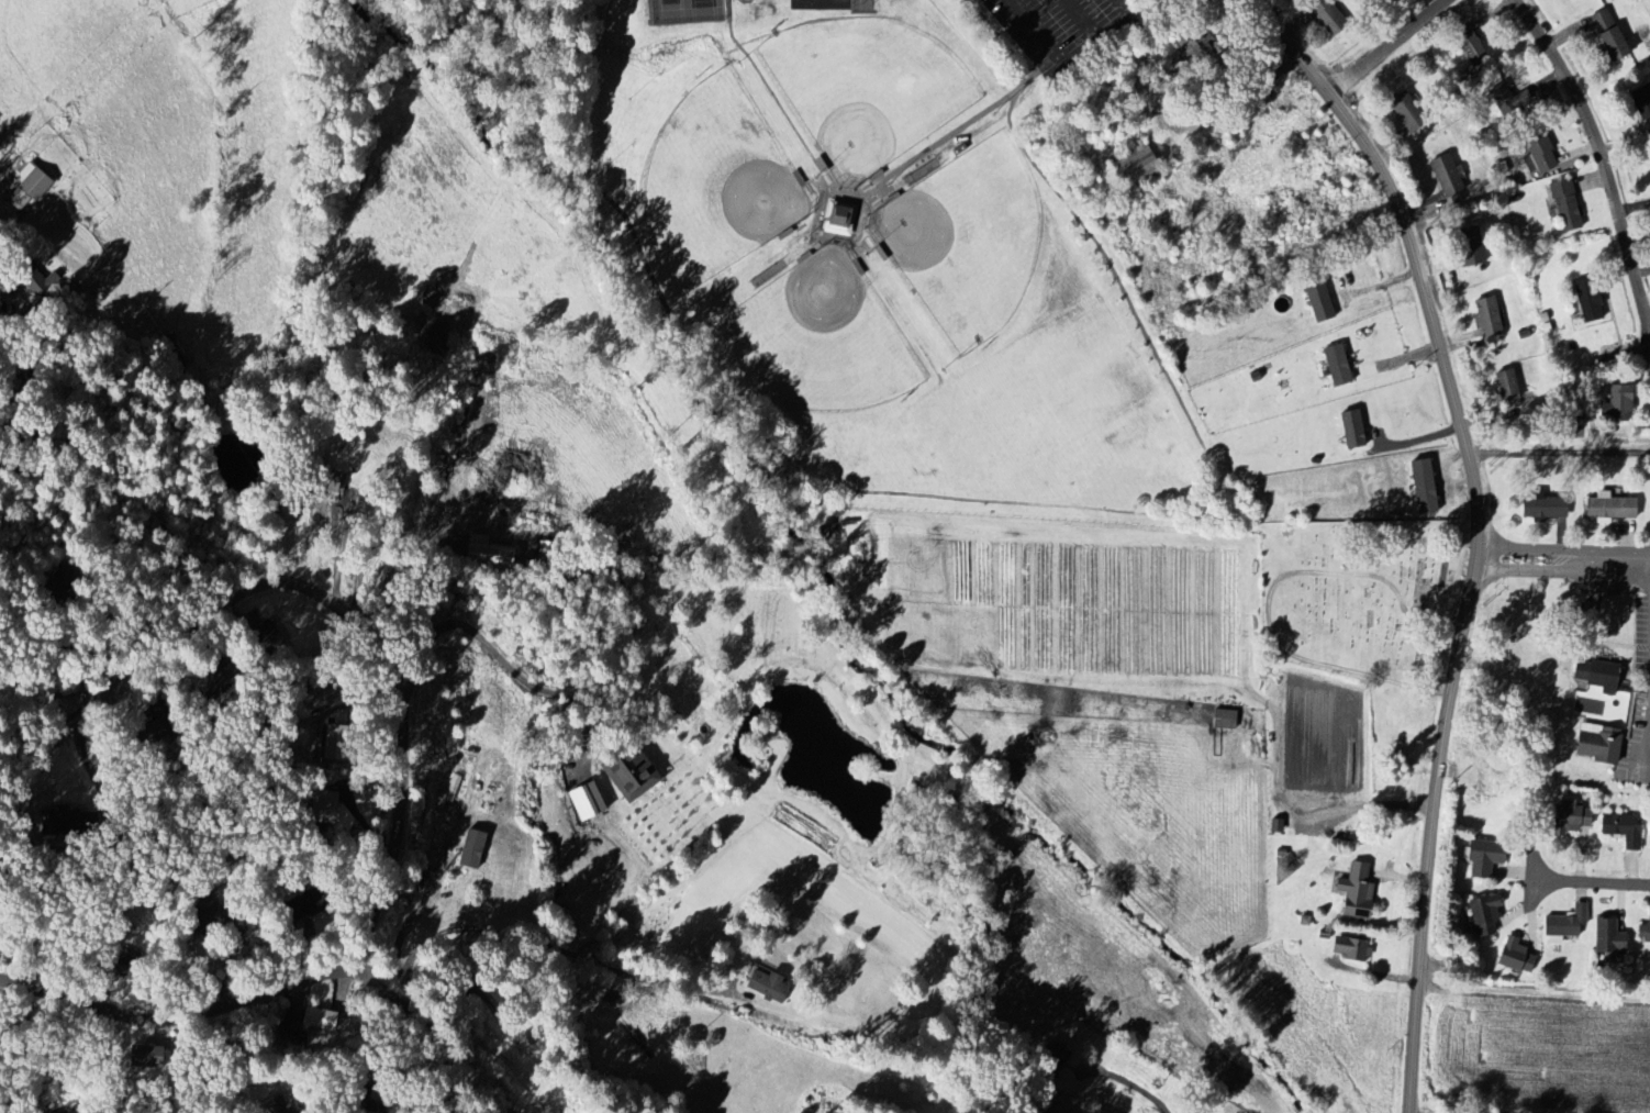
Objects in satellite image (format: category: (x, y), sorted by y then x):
park: (822, 3)
road: (1127, 4)
park: (687, 11)
building: (1334, 21)
road: (1024, 34)
building: (1605, 35)
building: (1468, 45)
road: (1387, 46)
building: (1197, 49)
road: (1195, 66)
park: (866, 88)
road: (778, 99)
building: (1504, 99)
building: (1640, 107)
building: (1403, 112)
road: (1222, 113)
road: (955, 133)
road: (227, 147)
building: (1539, 152)
road: (1603, 156)
building: (1139, 162)
building: (1443, 175)
park: (713, 186)
building: (30, 187)
building: (843, 219)
road: (860, 237)
park: (965, 238)
building: (1467, 246)
park: (884, 253)
road: (1417, 263)
building: (1587, 307)
building: (1484, 315)
park: (814, 337)
building: (1333, 366)
building: (1504, 385)
building: (1615, 403)
building: (1348, 430)
building: (1419, 487)
road: (1024, 501)
building: (1540, 508)
building: (1607, 508)
building: (1649, 508)
road: (1531, 547)
building: (549, 557)
road: (1617, 557)
road: (1531, 568)
park: (1363, 600)
building: (265, 634)
road: (505, 661)
building: (1591, 676)
road: (60, 693)
road: (63, 722)
road: (401, 738)
building: (337, 742)
road: (1647, 747)
building: (634, 775)
building: (589, 801)
building: (324, 808)
building: (1565, 817)
building: (60, 820)
building: (1619, 830)
building: (1649, 835)
road: (1430, 838)
building: (476, 848)
building: (1480, 858)
road: (1588, 882)
building: (1350, 889)
building: (1480, 915)
building: (1562, 923)
building: (1643, 930)
building: (1605, 937)
road: (538, 943)
building: (1347, 948)
building: (1512, 957)
building: (771, 984)
road: (183, 1014)
building: (320, 1019)
building: (147, 1058)
building: (1056, 1110)

